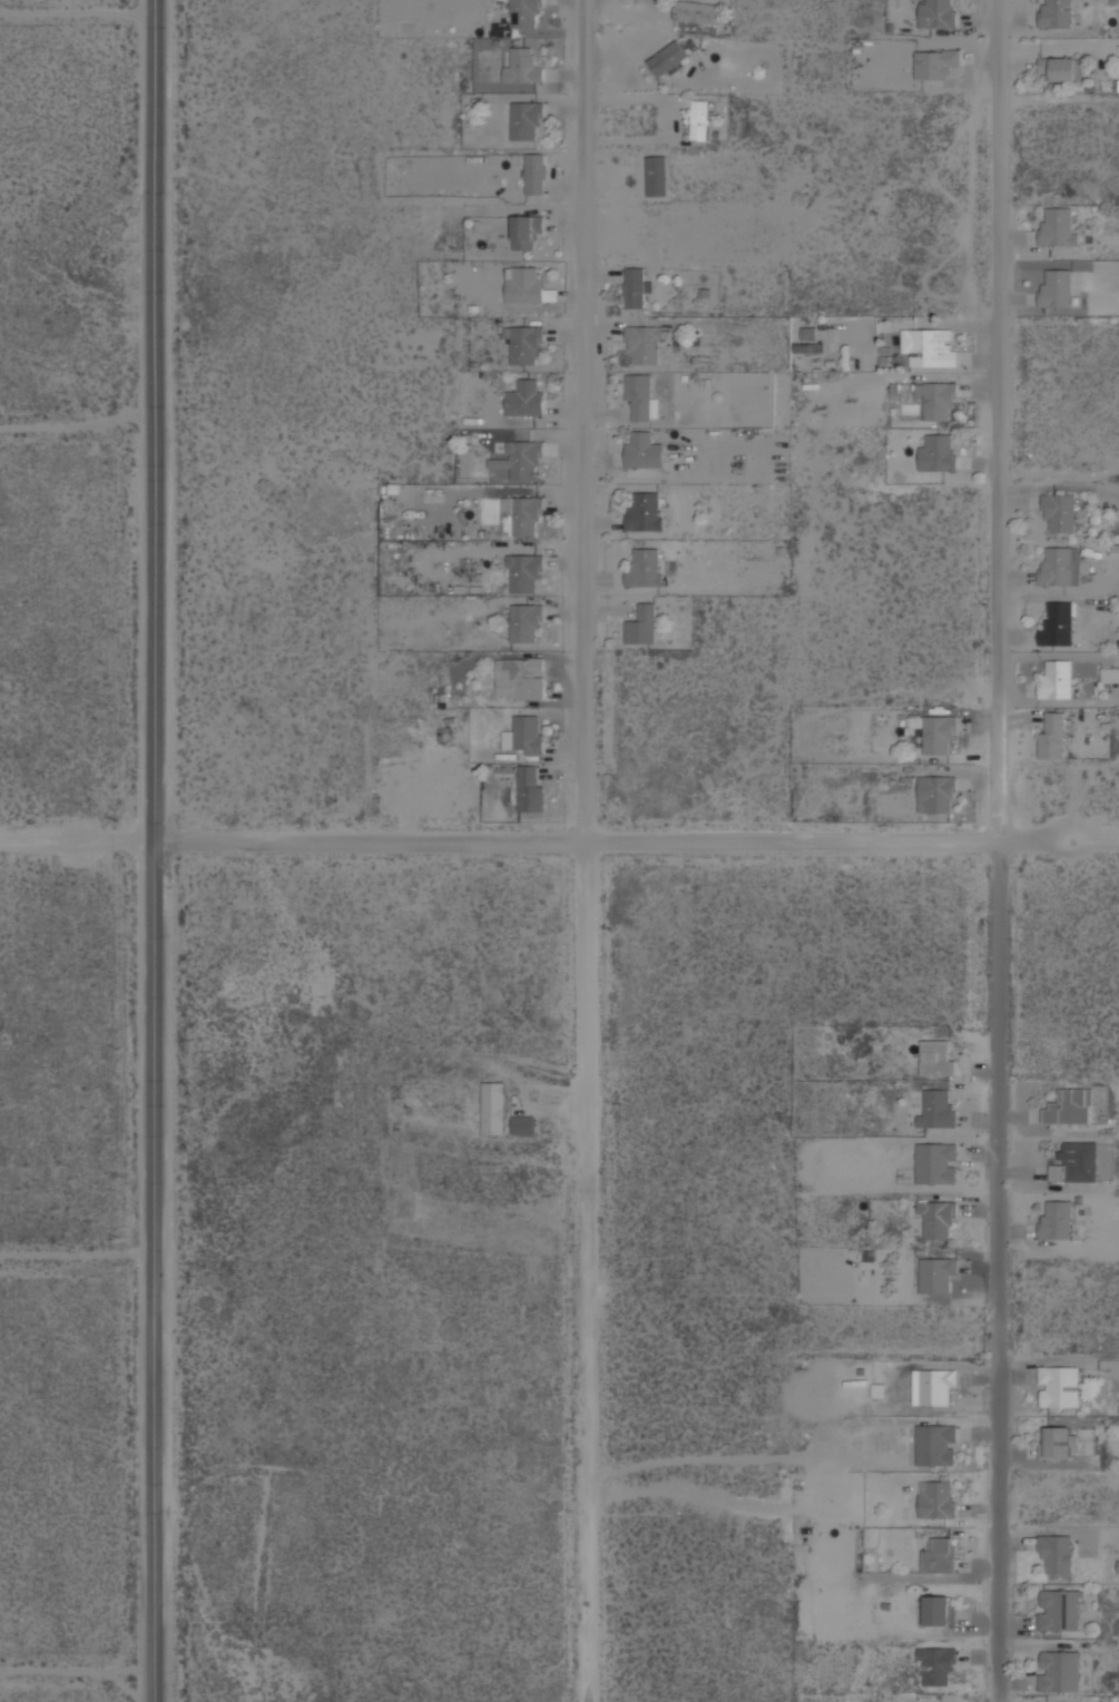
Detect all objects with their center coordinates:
building: (696, 11)
road: (77, 12)
building: (523, 12)
building: (936, 13)
building: (1054, 13)
building: (667, 58)
building: (935, 62)
building: (521, 67)
building: (1059, 68)
building: (524, 118)
building: (699, 119)
building: (534, 174)
building: (657, 176)
building: (1058, 226)
building: (526, 230)
building: (526, 286)
building: (634, 287)
building: (1056, 288)
building: (645, 342)
building: (523, 344)
building: (930, 346)
building: (524, 397)
building: (640, 397)
building: (939, 399)
road: (155, 419)
road: (587, 420)
road: (999, 420)
road: (77, 423)
building: (642, 450)
building: (938, 453)
building: (519, 461)
building: (644, 511)
building: (1059, 511)
building: (519, 516)
building: (1058, 567)
building: (645, 568)
building: (524, 572)
building: (526, 621)
building: (1057, 622)
building: (640, 624)
building: (1109, 675)
building: (1056, 679)
building: (517, 680)
building: (938, 732)
building: (528, 734)
building: (1051, 735)
building: (529, 788)
building: (938, 793)
road: (77, 839)
road: (637, 839)
building: (938, 1056)
building: (1070, 1106)
building: (493, 1108)
building: (938, 1111)
building: (522, 1124)
building: (935, 1162)
building: (1076, 1162)
building: (938, 1216)
building: (1056, 1220)
road: (77, 1252)
road: (155, 1270)
road: (587, 1270)
road: (999, 1270)
building: (935, 1273)
building: (936, 1385)
building: (1058, 1386)
building: (1057, 1442)
building: (935, 1445)
building: (938, 1498)
building: (1056, 1553)
building: (939, 1554)
building: (1058, 1610)
building: (940, 1611)
building: (938, 1663)
road: (78, 1670)
building: (1058, 1670)

